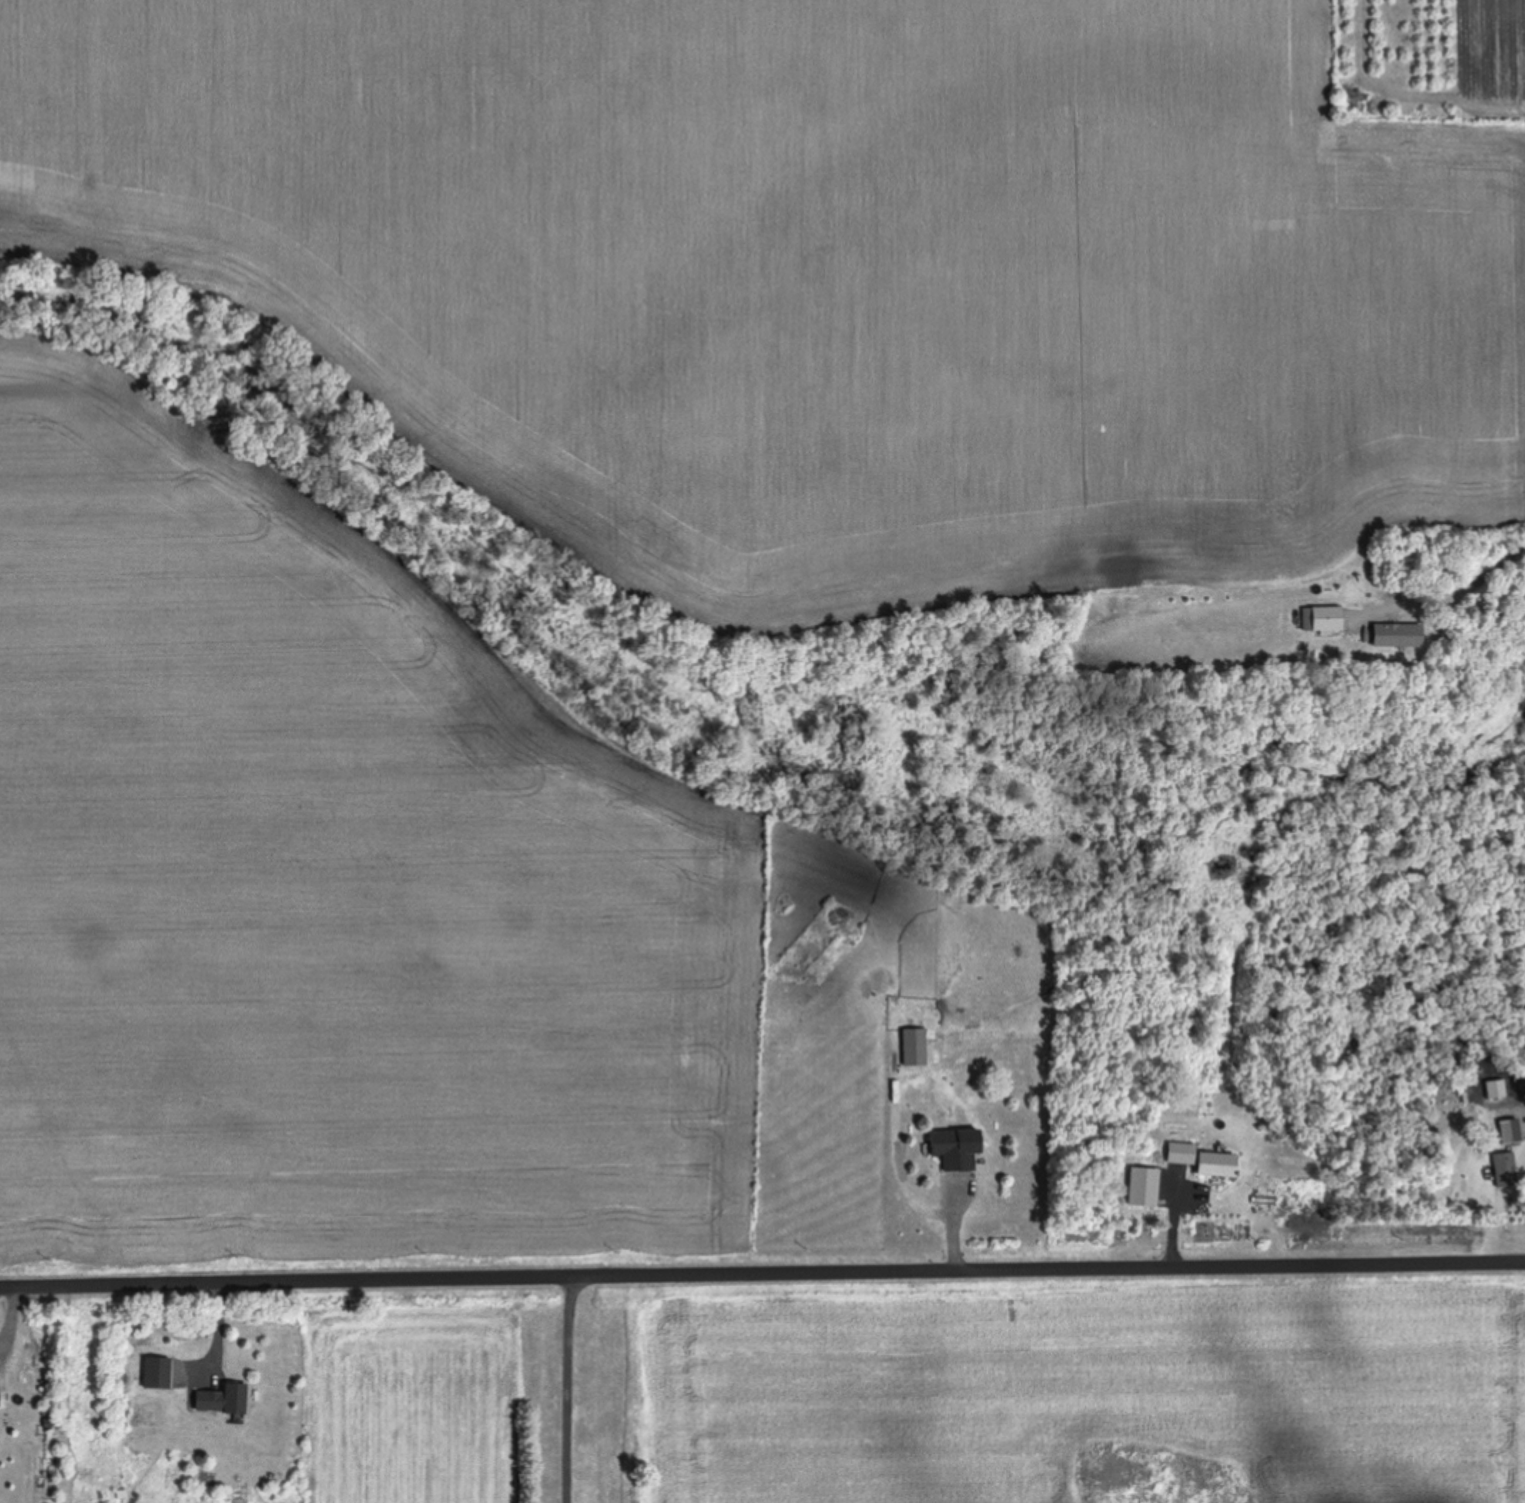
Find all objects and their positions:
crop: (603, 532)
building: (1325, 617)
building: (1395, 634)
building: (912, 1045)
building: (1508, 1129)
building: (954, 1147)
building: (1177, 1151)
building: (1214, 1163)
building: (1503, 1168)
road: (762, 1267)
road: (583, 1386)
building: (221, 1398)

